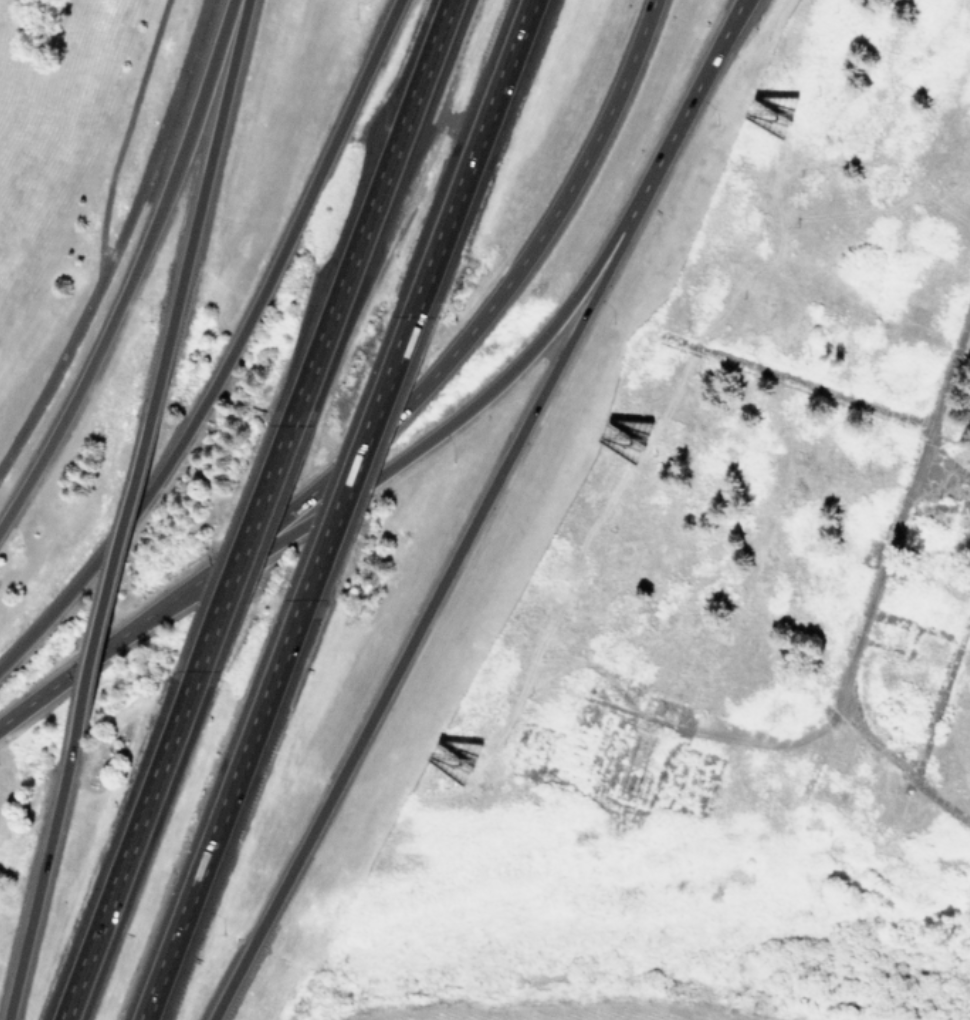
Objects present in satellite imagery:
road: (698, 86)
road: (446, 119)
road: (125, 131)
road: (472, 157)
road: (381, 182)
road: (198, 211)
road: (118, 238)
road: (134, 268)
road: (230, 351)
road: (448, 355)
road: (430, 437)
road: (355, 467)
road: (255, 514)
road: (113, 583)
road: (433, 597)
road: (67, 672)
road: (217, 819)
road: (129, 841)
road: (38, 881)
crop: (579, 1012)

